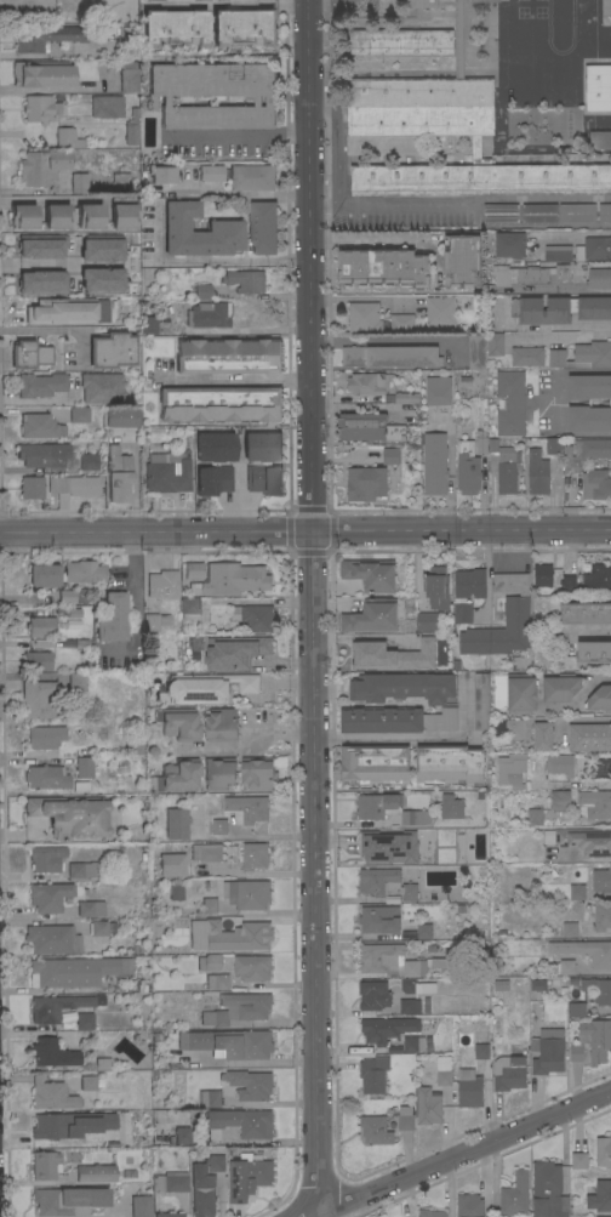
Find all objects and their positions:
building: (150, 0)
building: (196, 0)
building: (217, 0)
building: (262, 0)
building: (482, 0)
road: (353, 1)
building: (416, 2)
road: (330, 6)
building: (606, 7)
building: (175, 25)
building: (245, 25)
building: (46, 36)
building: (125, 40)
building: (399, 41)
building: (41, 73)
building: (127, 76)
building: (598, 86)
building: (212, 93)
building: (105, 106)
building: (419, 106)
building: (39, 108)
building: (131, 127)
road: (25, 131)
road: (236, 135)
building: (67, 137)
building: (600, 138)
building: (40, 166)
building: (211, 172)
building: (160, 174)
building: (252, 176)
building: (78, 182)
road: (410, 206)
building: (577, 211)
building: (605, 211)
building: (499, 212)
building: (538, 212)
building: (121, 215)
building: (22, 216)
building: (56, 216)
building: (88, 216)
road: (154, 222)
building: (262, 227)
building: (196, 232)
road: (569, 233)
building: (85, 239)
road: (365, 240)
building: (509, 244)
building: (593, 248)
building: (45, 250)
building: (558, 252)
building: (462, 260)
road: (309, 265)
building: (383, 266)
building: (561, 272)
building: (519, 274)
building: (598, 278)
building: (98, 279)
building: (245, 280)
building: (39, 281)
building: (201, 291)
road: (552, 291)
building: (560, 308)
building: (440, 309)
building: (67, 311)
building: (207, 314)
building: (362, 317)
building: (401, 323)
building: (148, 324)
road: (569, 328)
road: (51, 329)
building: (495, 343)
building: (475, 348)
building: (110, 349)
building: (29, 353)
building: (228, 354)
building: (389, 356)
building: (526, 356)
building: (582, 356)
road: (233, 380)
building: (370, 382)
building: (40, 383)
building: (588, 386)
building: (99, 388)
building: (438, 389)
building: (406, 397)
building: (509, 402)
building: (219, 403)
road: (553, 403)
building: (79, 414)
building: (121, 417)
building: (588, 417)
building: (39, 425)
building: (367, 426)
building: (480, 440)
building: (553, 444)
building: (262, 445)
building: (583, 453)
building: (40, 454)
building: (390, 455)
building: (87, 461)
building: (212, 461)
building: (434, 462)
building: (503, 465)
building: (467, 468)
building: (537, 471)
building: (166, 473)
building: (118, 474)
building: (263, 479)
building: (365, 483)
building: (73, 484)
building: (595, 484)
building: (30, 487)
road: (155, 531)
road: (461, 531)
building: (193, 569)
building: (81, 570)
building: (370, 573)
building: (42, 574)
road: (487, 574)
building: (232, 578)
building: (542, 578)
building: (596, 578)
building: (162, 584)
building: (436, 587)
building: (467, 592)
building: (70, 596)
road: (132, 603)
building: (188, 607)
building: (586, 612)
building: (371, 615)
building: (252, 616)
building: (110, 618)
building: (154, 620)
building: (428, 620)
building: (516, 620)
building: (40, 626)
building: (427, 643)
building: (234, 652)
building: (593, 652)
building: (387, 655)
building: (35, 660)
building: (133, 661)
building: (76, 681)
building: (206, 687)
building: (404, 687)
building: (559, 687)
building: (520, 694)
building: (36, 698)
road: (578, 698)
building: (600, 699)
building: (481, 700)
building: (395, 718)
building: (177, 722)
building: (219, 724)
building: (508, 728)
building: (44, 735)
building: (541, 737)
building: (589, 737)
road: (419, 738)
building: (133, 745)
road: (245, 746)
building: (373, 763)
building: (449, 763)
building: (559, 764)
building: (84, 767)
building: (512, 769)
building: (218, 772)
building: (258, 773)
building: (175, 775)
building: (45, 777)
building: (559, 798)
building: (594, 803)
building: (376, 804)
building: (450, 806)
building: (241, 812)
building: (70, 815)
building: (415, 817)
building: (535, 817)
building: (176, 823)
building: (579, 840)
building: (372, 847)
building: (205, 852)
building: (253, 855)
building: (45, 858)
building: (171, 864)
building: (82, 869)
road: (255, 872)
road: (314, 878)
building: (601, 880)
building: (386, 883)
building: (175, 891)
building: (577, 891)
building: (246, 893)
building: (47, 895)
building: (209, 904)
building: (87, 908)
building: (601, 916)
building: (378, 919)
building: (97, 927)
building: (569, 929)
building: (423, 931)
building: (232, 936)
building: (51, 938)
building: (586, 950)
building: (393, 960)
building: (209, 961)
building: (251, 966)
building: (566, 966)
building: (74, 971)
building: (217, 980)
building: (136, 984)
building: (537, 984)
building: (416, 985)
building: (499, 985)
building: (598, 989)
building: (373, 995)
building: (55, 1006)
building: (409, 1006)
building: (576, 1007)
building: (238, 1008)
building: (84, 1020)
building: (386, 1029)
building: (596, 1039)
building: (228, 1042)
building: (413, 1043)
building: (481, 1050)
building: (547, 1051)
building: (51, 1052)
building: (576, 1052)
building: (102, 1063)
building: (509, 1067)
building: (442, 1070)
building: (372, 1074)
building: (86, 1081)
building: (250, 1084)
building: (468, 1087)
building: (51, 1093)
building: (210, 1098)
building: (428, 1105)
building: (405, 1118)
building: (239, 1122)
building: (69, 1124)
building: (373, 1130)
building: (181, 1134)
building: (603, 1150)
road: (463, 1151)
building: (578, 1160)
building: (215, 1161)
building: (44, 1164)
building: (95, 1172)
building: (127, 1173)
building: (246, 1177)
building: (169, 1181)
building: (201, 1190)
building: (547, 1190)
building: (514, 1195)
building: (600, 1195)
building: (67, 1200)
building: (139, 1205)
building: (468, 1205)
building: (430, 1212)
building: (169, 1215)
building: (598, 1216)

